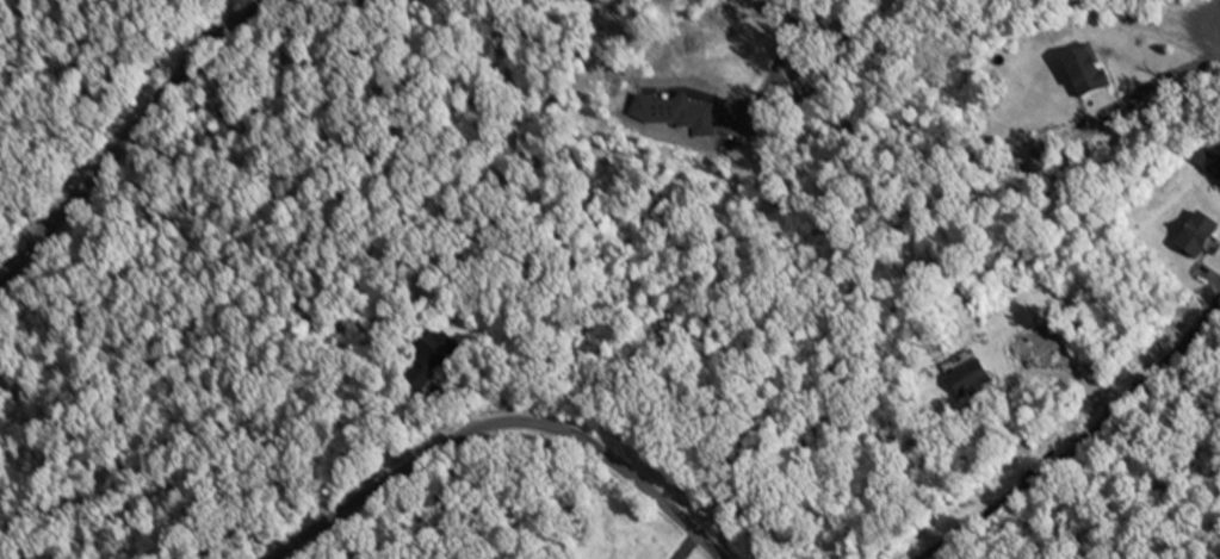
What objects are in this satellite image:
road: (1215, 17)
road: (1212, 39)
road: (782, 57)
building: (1089, 74)
road: (122, 138)
building: (1210, 163)
building: (1200, 237)
building: (441, 350)
road: (502, 429)
road: (1080, 441)

